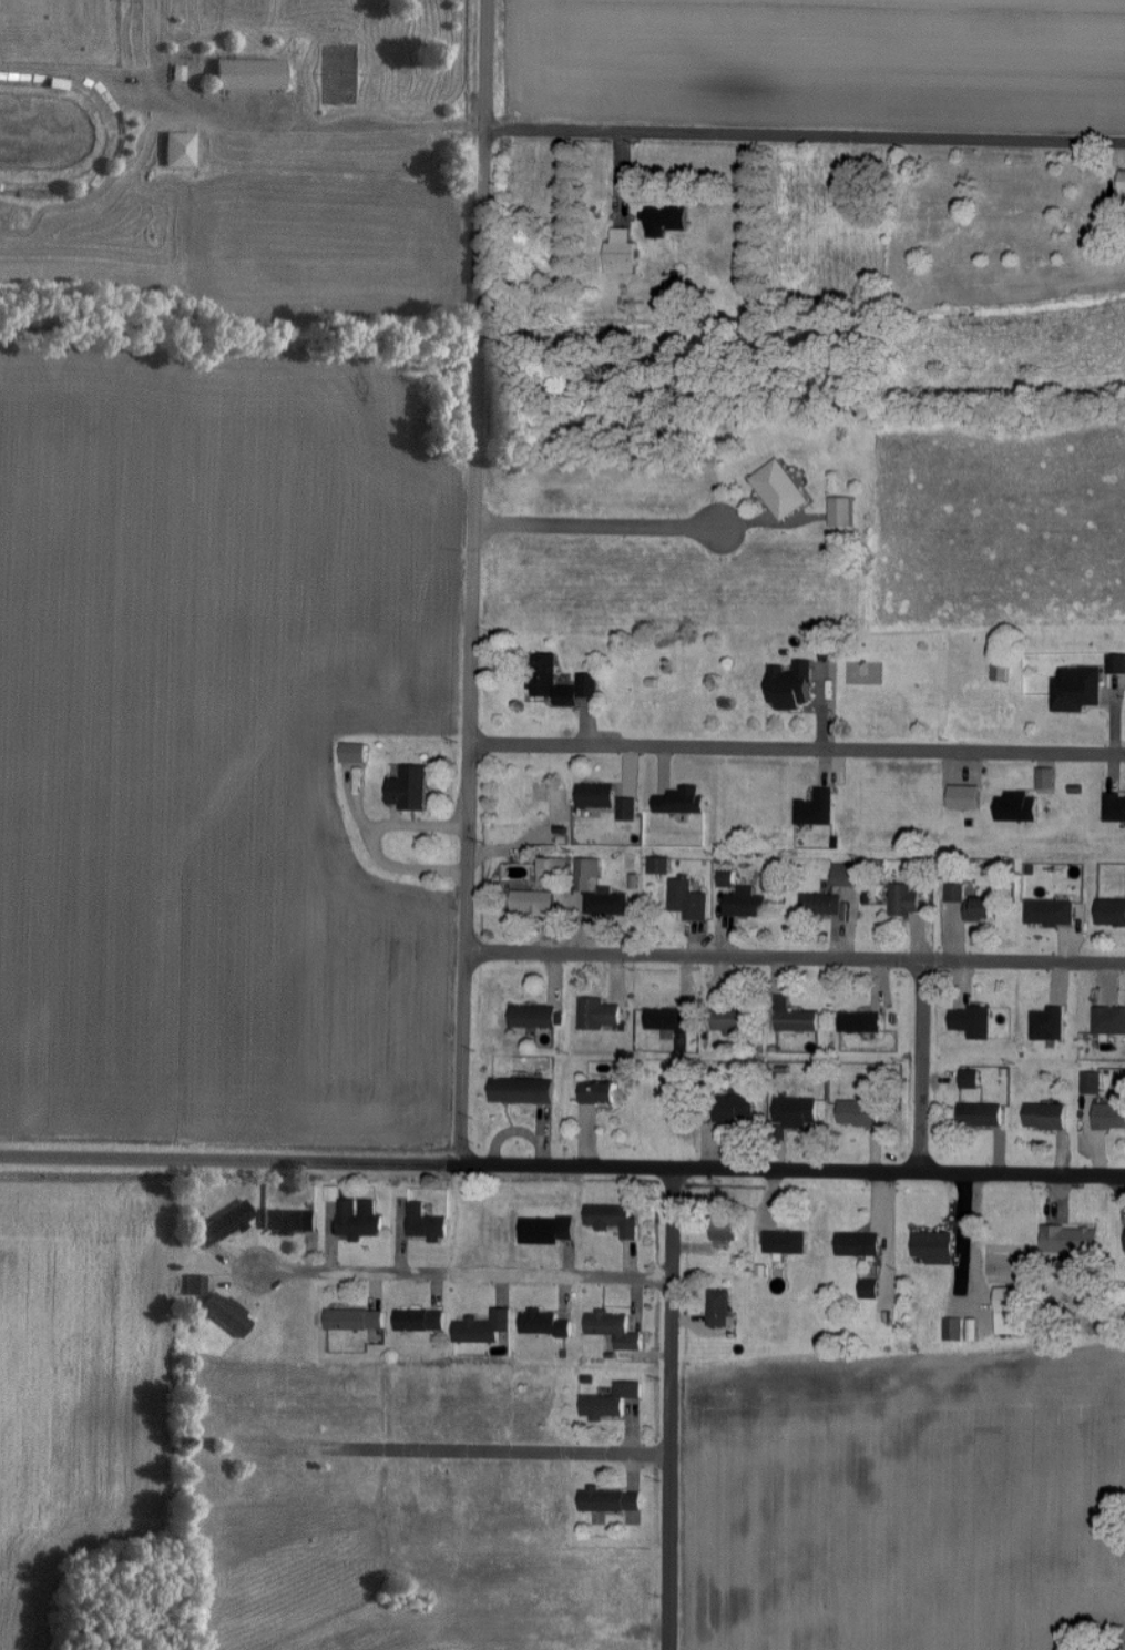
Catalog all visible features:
building: (247, 73)
road: (273, 121)
road: (805, 137)
building: (1123, 181)
building: (665, 218)
building: (621, 252)
building: (779, 489)
building: (841, 511)
road: (601, 529)
road: (472, 582)
building: (1116, 663)
building: (1000, 671)
building: (542, 679)
building: (790, 685)
building: (1076, 689)
building: (352, 752)
road: (797, 752)
building: (1045, 777)
building: (409, 787)
building: (595, 795)
building: (964, 796)
building: (681, 799)
building: (1016, 806)
building: (1114, 806)
building: (627, 808)
building: (816, 808)
road: (372, 844)
building: (658, 865)
building: (552, 867)
building: (586, 872)
building: (843, 874)
building: (726, 878)
building: (955, 893)
building: (687, 898)
building: (903, 899)
building: (532, 902)
building: (605, 902)
building: (745, 903)
building: (822, 904)
building: (979, 908)
building: (1051, 911)
building: (1111, 911)
road: (794, 959)
building: (597, 1014)
building: (532, 1016)
building: (794, 1017)
building: (666, 1018)
building: (1108, 1020)
building: (732, 1021)
building: (860, 1021)
building: (972, 1021)
building: (1047, 1023)
road: (921, 1066)
building: (970, 1079)
building: (1092, 1082)
building: (599, 1084)
building: (521, 1090)
building: (735, 1107)
building: (796, 1111)
building: (859, 1112)
building: (980, 1114)
building: (1045, 1116)
building: (1109, 1116)
road: (228, 1160)
road: (790, 1169)
building: (331, 1193)
building: (358, 1219)
building: (612, 1219)
building: (288, 1221)
building: (223, 1223)
building: (426, 1223)
building: (725, 1229)
building: (545, 1230)
building: (1070, 1240)
building: (785, 1242)
building: (858, 1244)
building: (933, 1246)
road: (466, 1274)
building: (194, 1285)
building: (869, 1289)
building: (719, 1308)
building: (1011, 1311)
building: (226, 1314)
building: (354, 1320)
building: (420, 1320)
building: (543, 1323)
building: (483, 1327)
building: (614, 1328)
building: (953, 1330)
building: (610, 1402)
road: (673, 1410)
road: (463, 1453)
building: (610, 1500)
road: (483, 1622)
road: (888, 1637)

